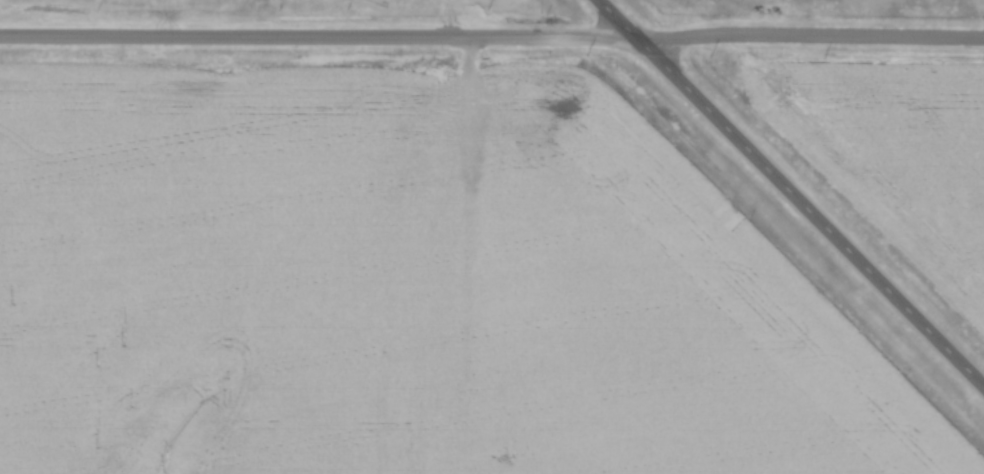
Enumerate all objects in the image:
power substation: (383, 1)
road: (318, 35)
road: (810, 36)
road: (792, 192)

